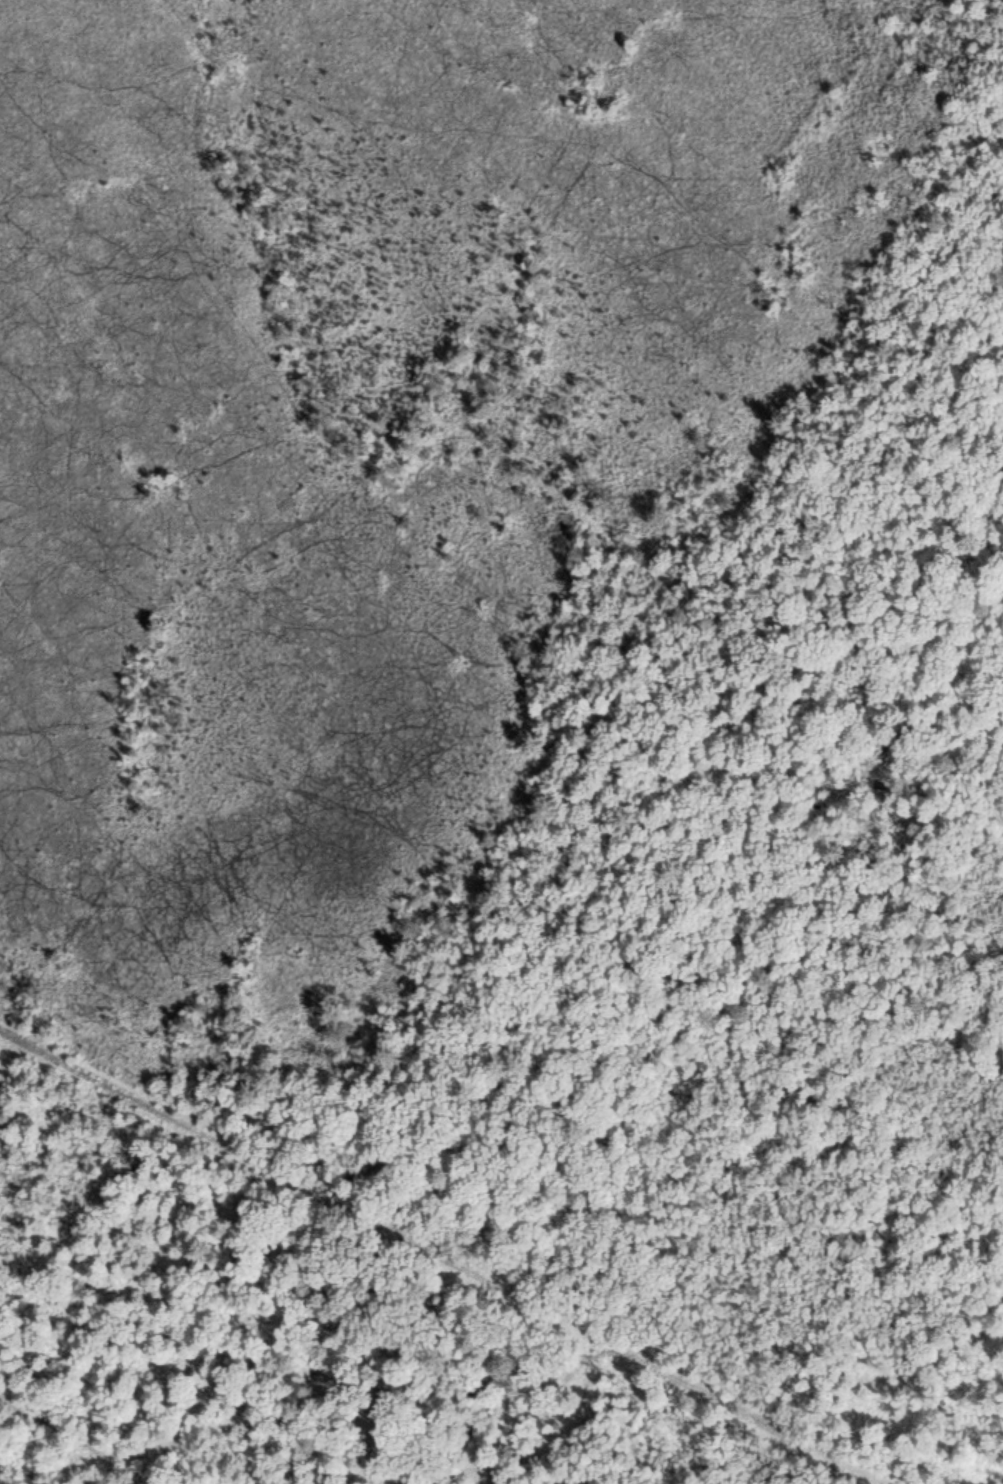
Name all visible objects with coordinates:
railway: (438, 1256)

